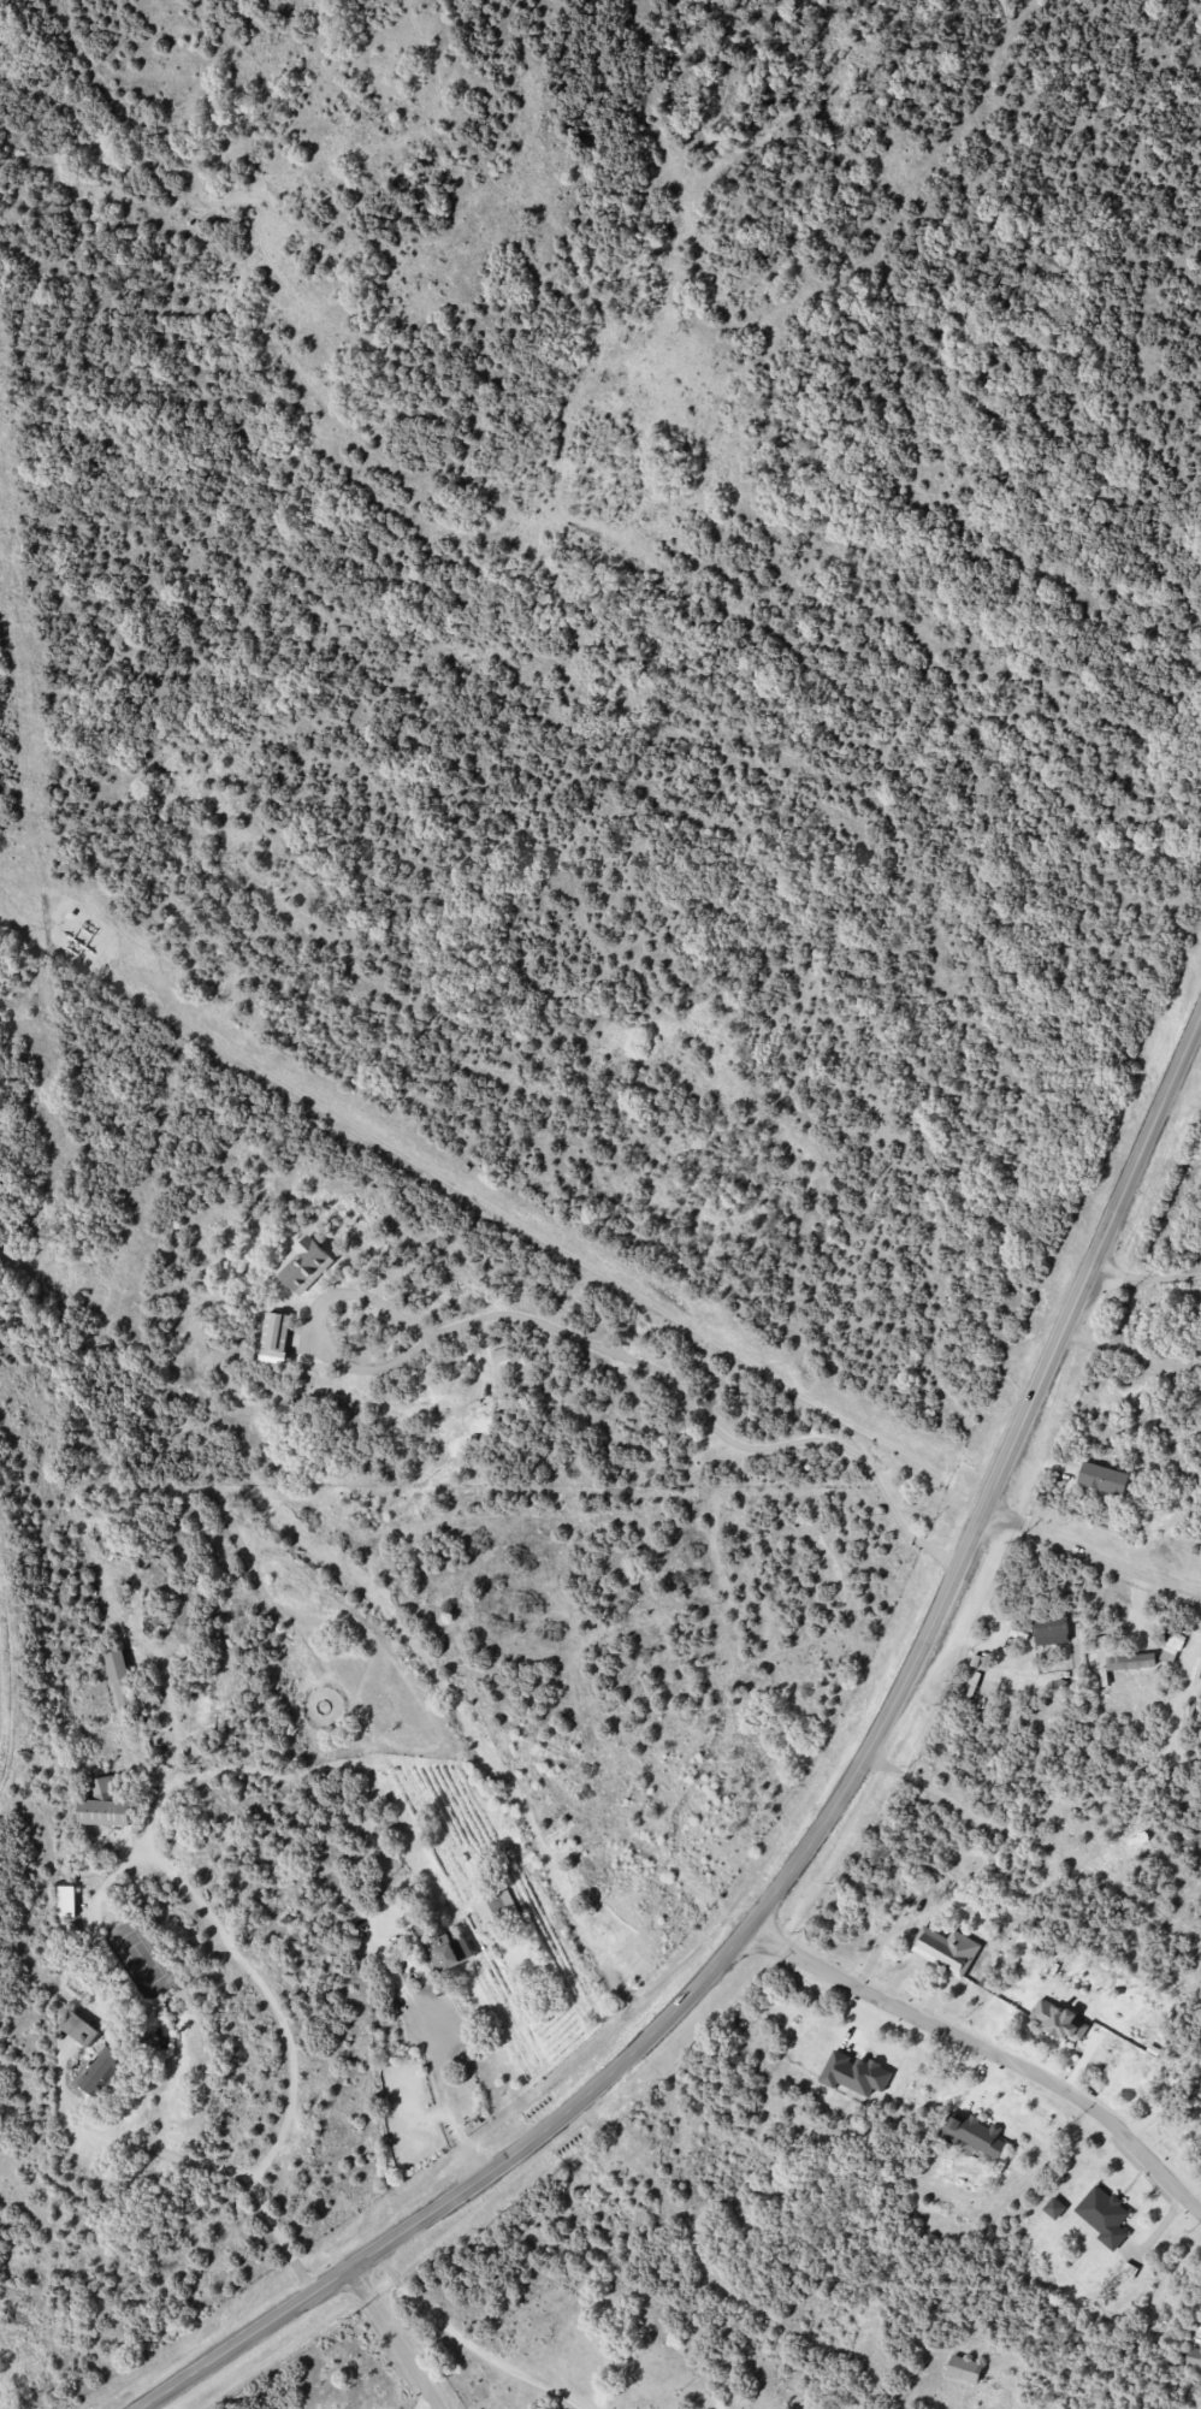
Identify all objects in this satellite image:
building: (304, 1265)
road: (1147, 1280)
building: (276, 1331)
road: (1135, 1351)
building: (498, 1355)
road: (687, 1399)
building: (1102, 1478)
road: (1093, 1552)
building: (1051, 1630)
building: (1169, 1655)
building: (1130, 1661)
building: (122, 1676)
road: (171, 1720)
building: (135, 1723)
building: (106, 1804)
road: (820, 1833)
building: (66, 1901)
building: (492, 1910)
building: (946, 1949)
building: (446, 1952)
road: (272, 2003)
building: (1059, 2020)
building: (79, 2029)
road: (989, 2053)
road: (430, 2054)
building: (101, 2071)
building: (854, 2073)
building: (1200, 2088)
building: (972, 2133)
road: (142, 2148)
building: (1054, 2208)
building: (1104, 2215)
road: (395, 2339)
road: (468, 2345)
building: (1194, 2358)
building: (964, 2369)
road: (419, 2398)

